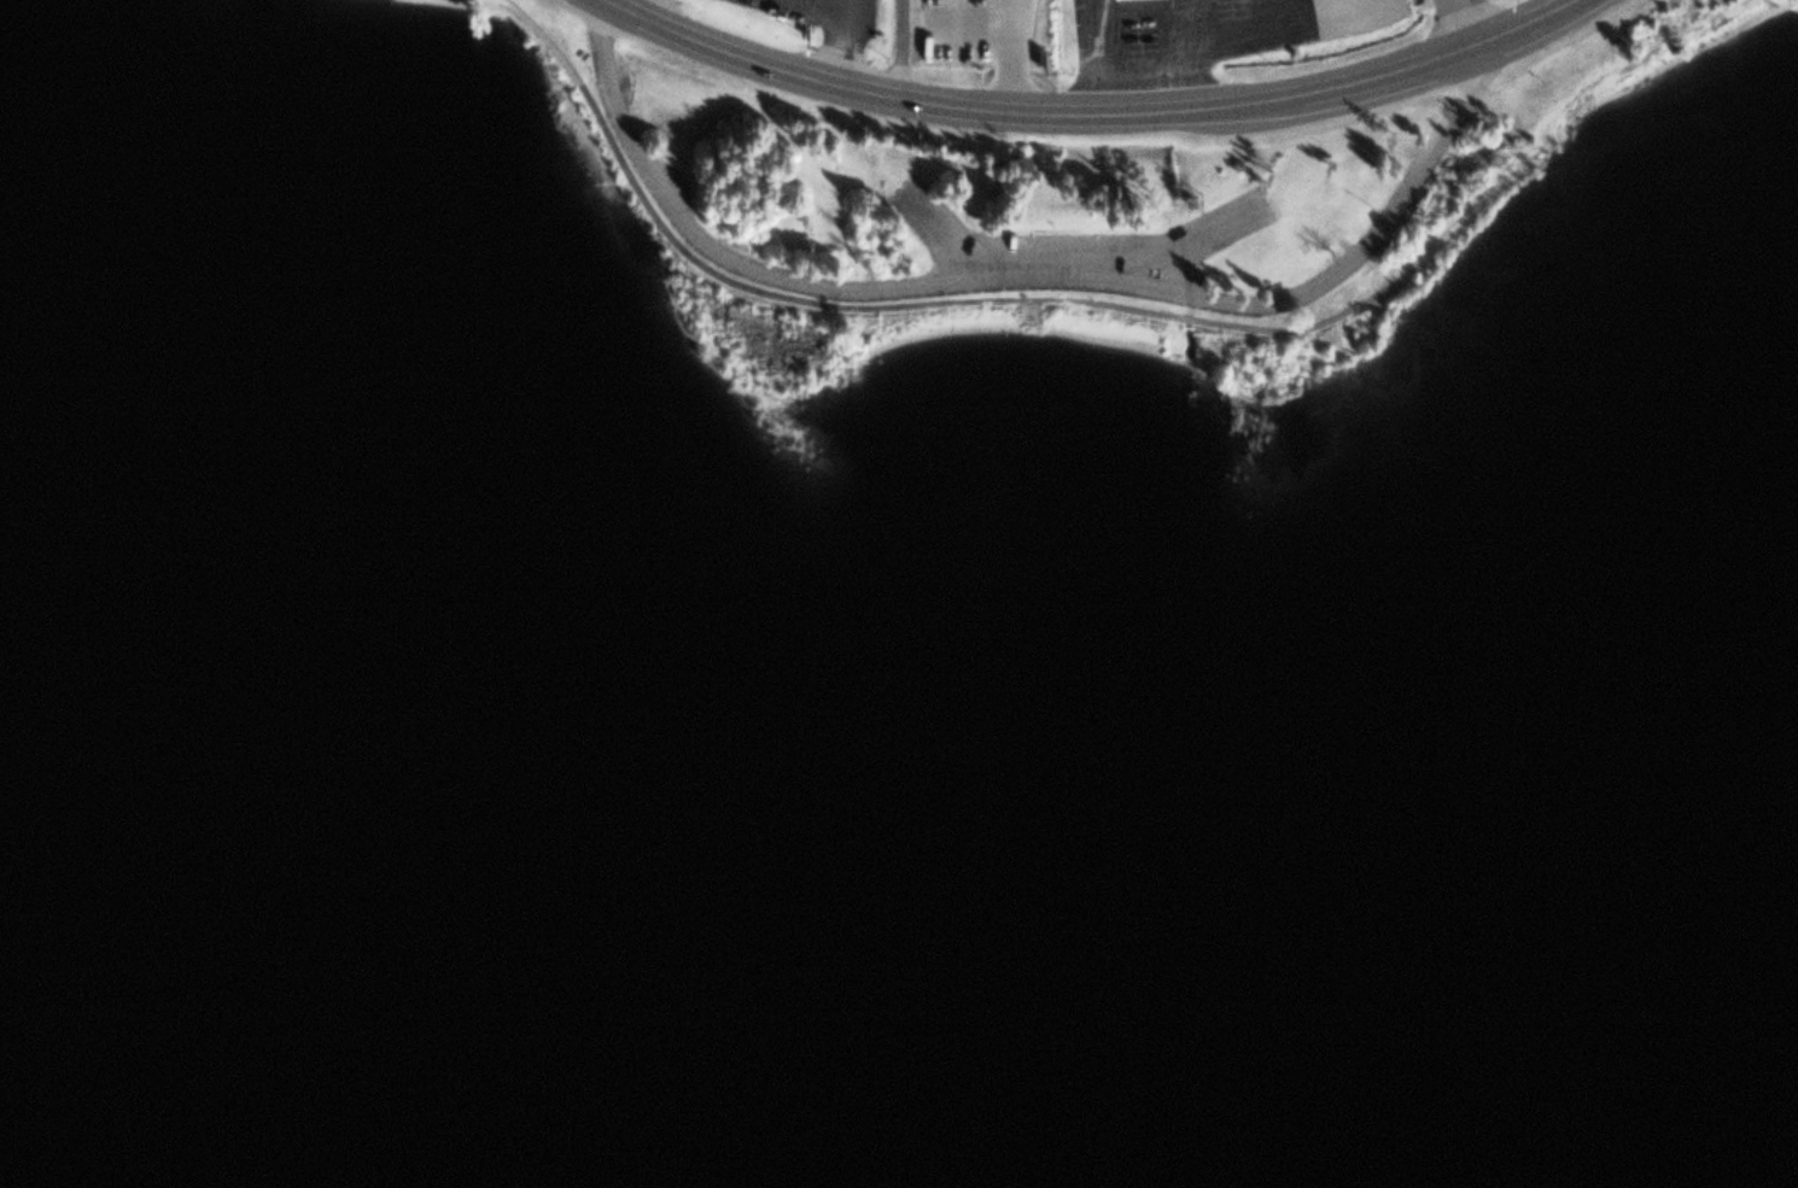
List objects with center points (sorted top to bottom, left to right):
road: (823, 5)
road: (653, 12)
building: (958, 18)
road: (1458, 24)
road: (1516, 24)
road: (543, 33)
road: (847, 43)
parking lot: (615, 76)
road: (1026, 116)
parking lot: (667, 182)
parking lot: (1073, 244)
road: (1015, 281)
park: (1088, 312)
road: (1166, 312)

